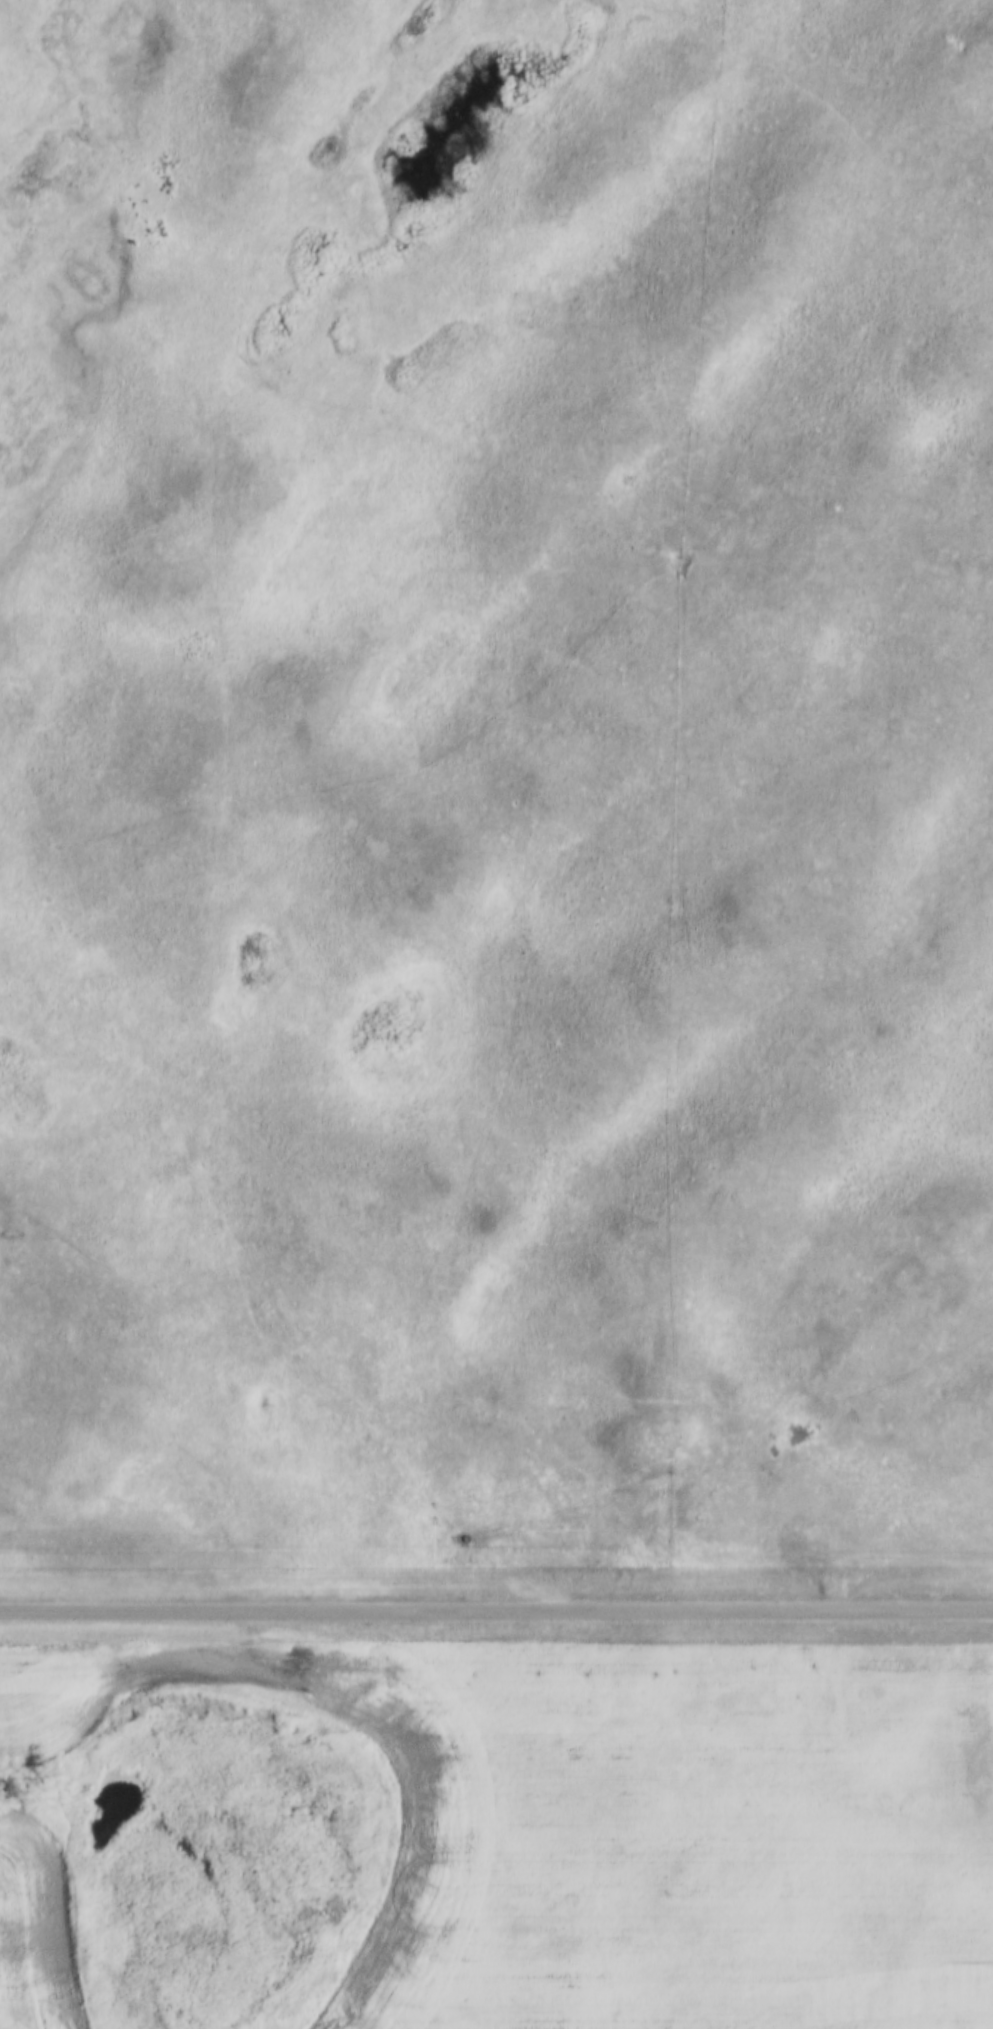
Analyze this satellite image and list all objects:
road: (496, 1610)

